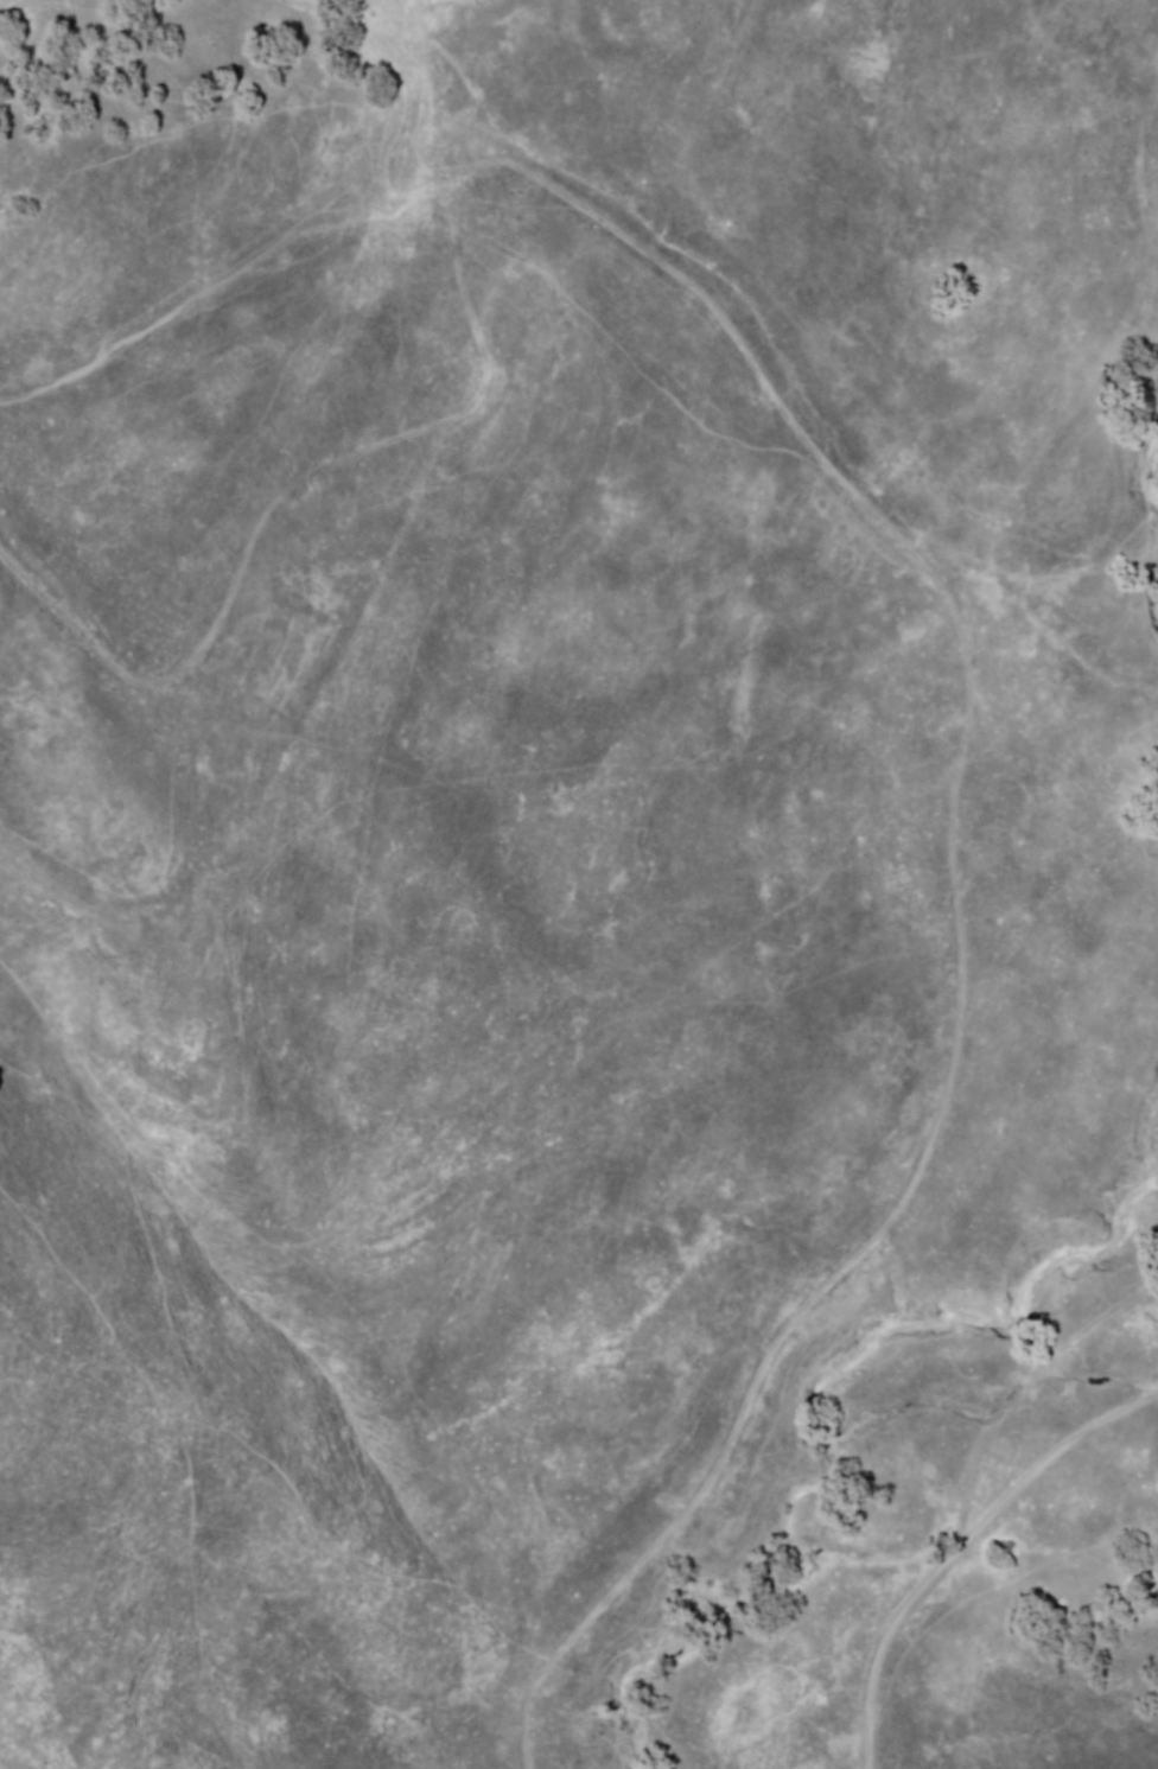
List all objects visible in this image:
road: (962, 1496)

